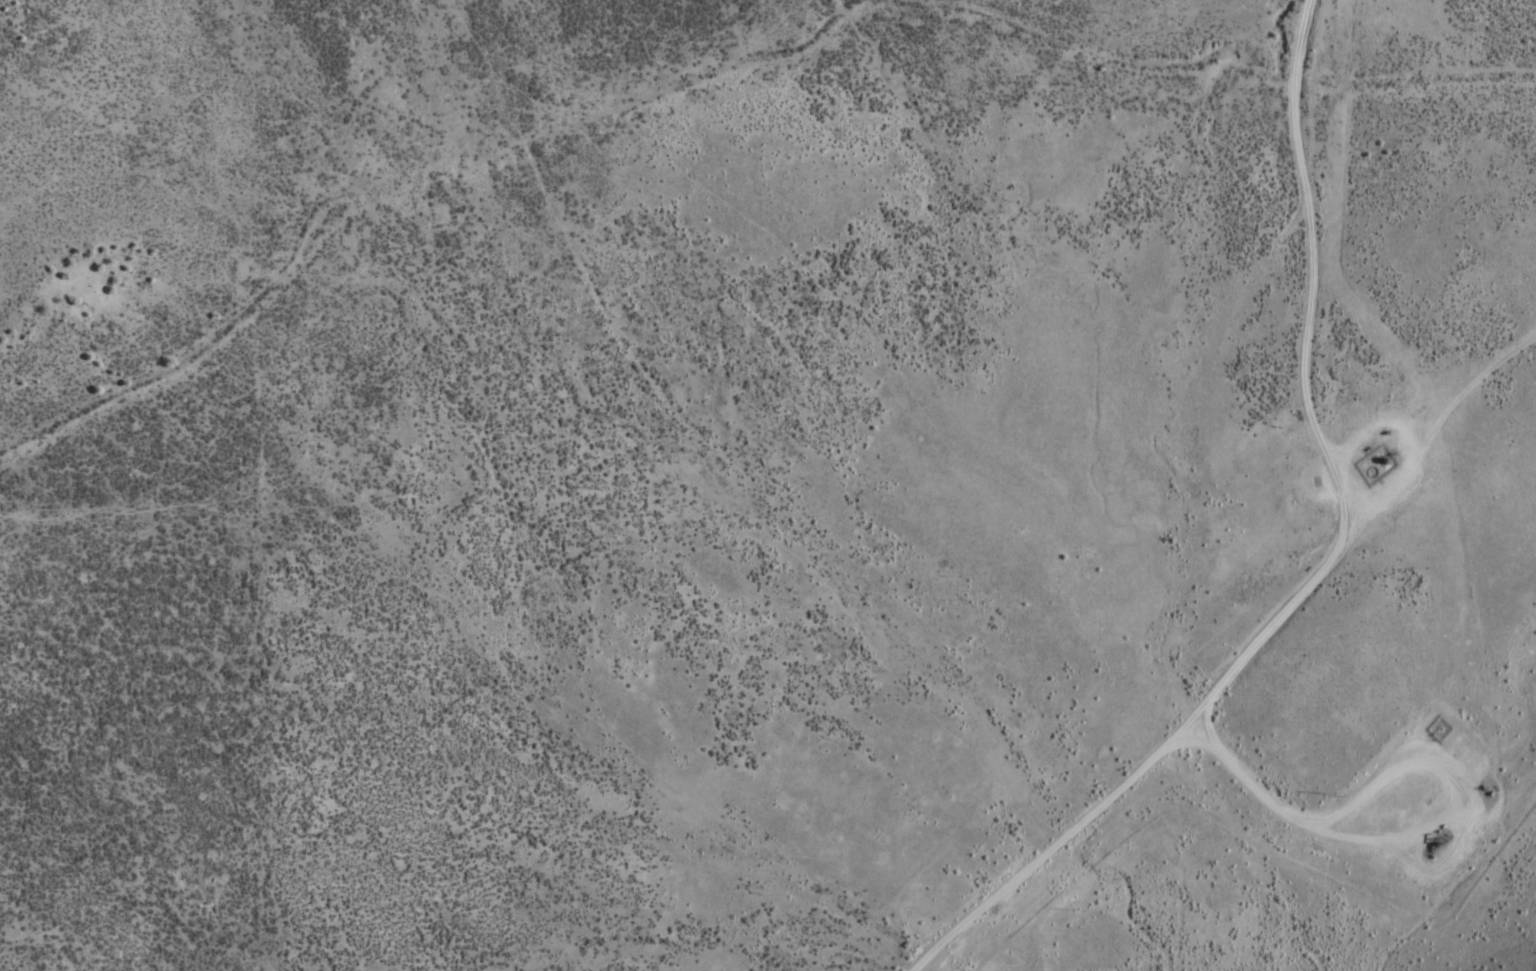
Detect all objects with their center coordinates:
road: (1228, 525)
road: (1000, 960)

